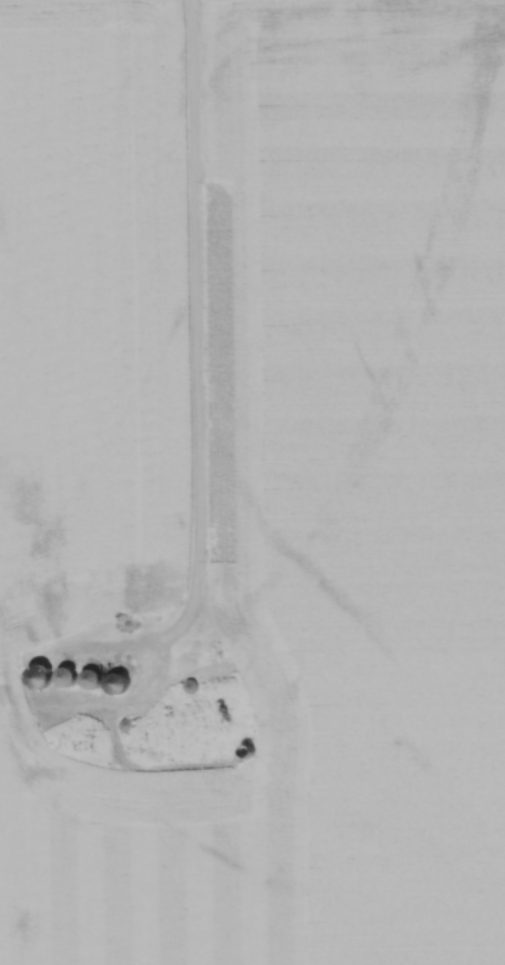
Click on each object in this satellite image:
road: (197, 341)

